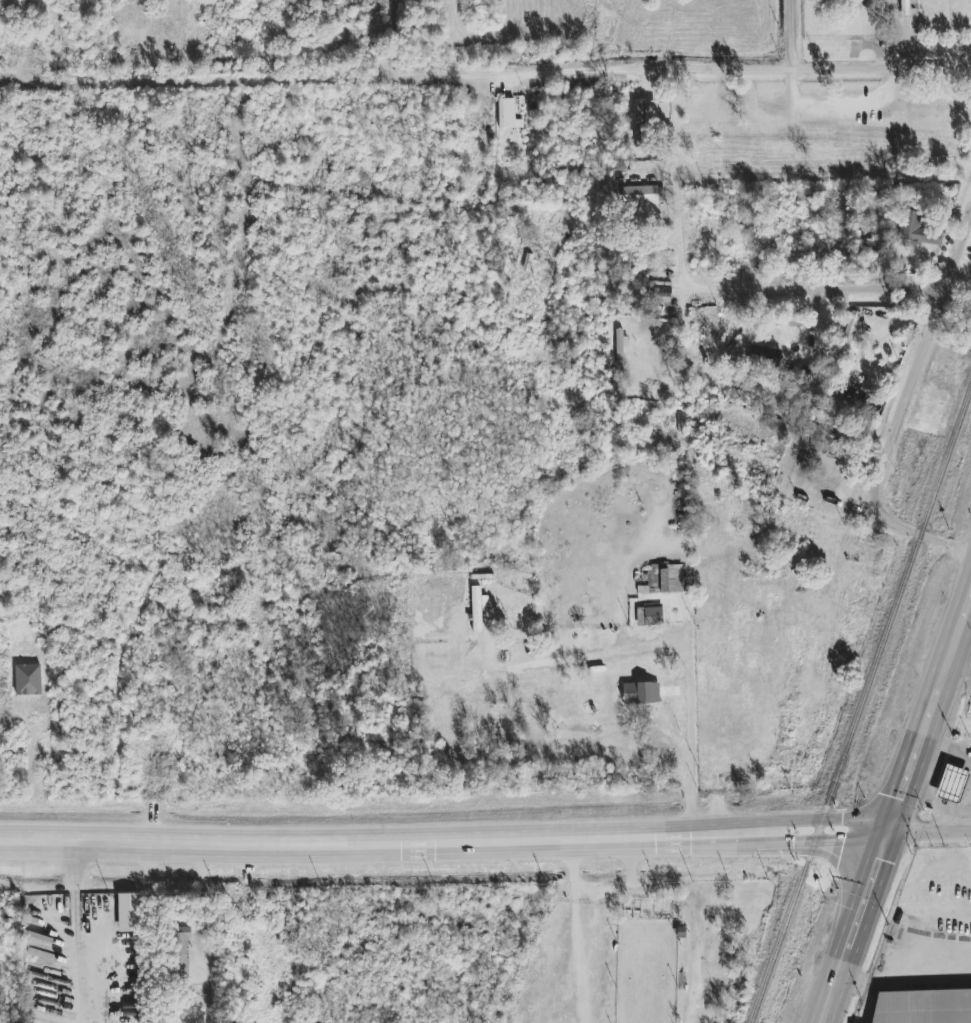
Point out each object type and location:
road: (795, 33)
road: (900, 33)
road: (717, 67)
building: (644, 121)
building: (643, 195)
building: (917, 230)
road: (680, 242)
road: (960, 256)
road: (820, 288)
road: (947, 294)
building: (852, 335)
road: (906, 408)
road: (929, 538)
building: (476, 599)
building: (649, 615)
road: (956, 677)
building: (641, 693)
railway: (861, 703)
road: (690, 734)
road: (948, 753)
building: (948, 784)
road: (896, 807)
road: (929, 832)
road: (444, 843)
road: (580, 882)
building: (129, 912)
road: (697, 921)
road: (597, 926)
road: (76, 933)
building: (182, 951)
road: (905, 983)
building: (922, 1006)
building: (905, 1022)

